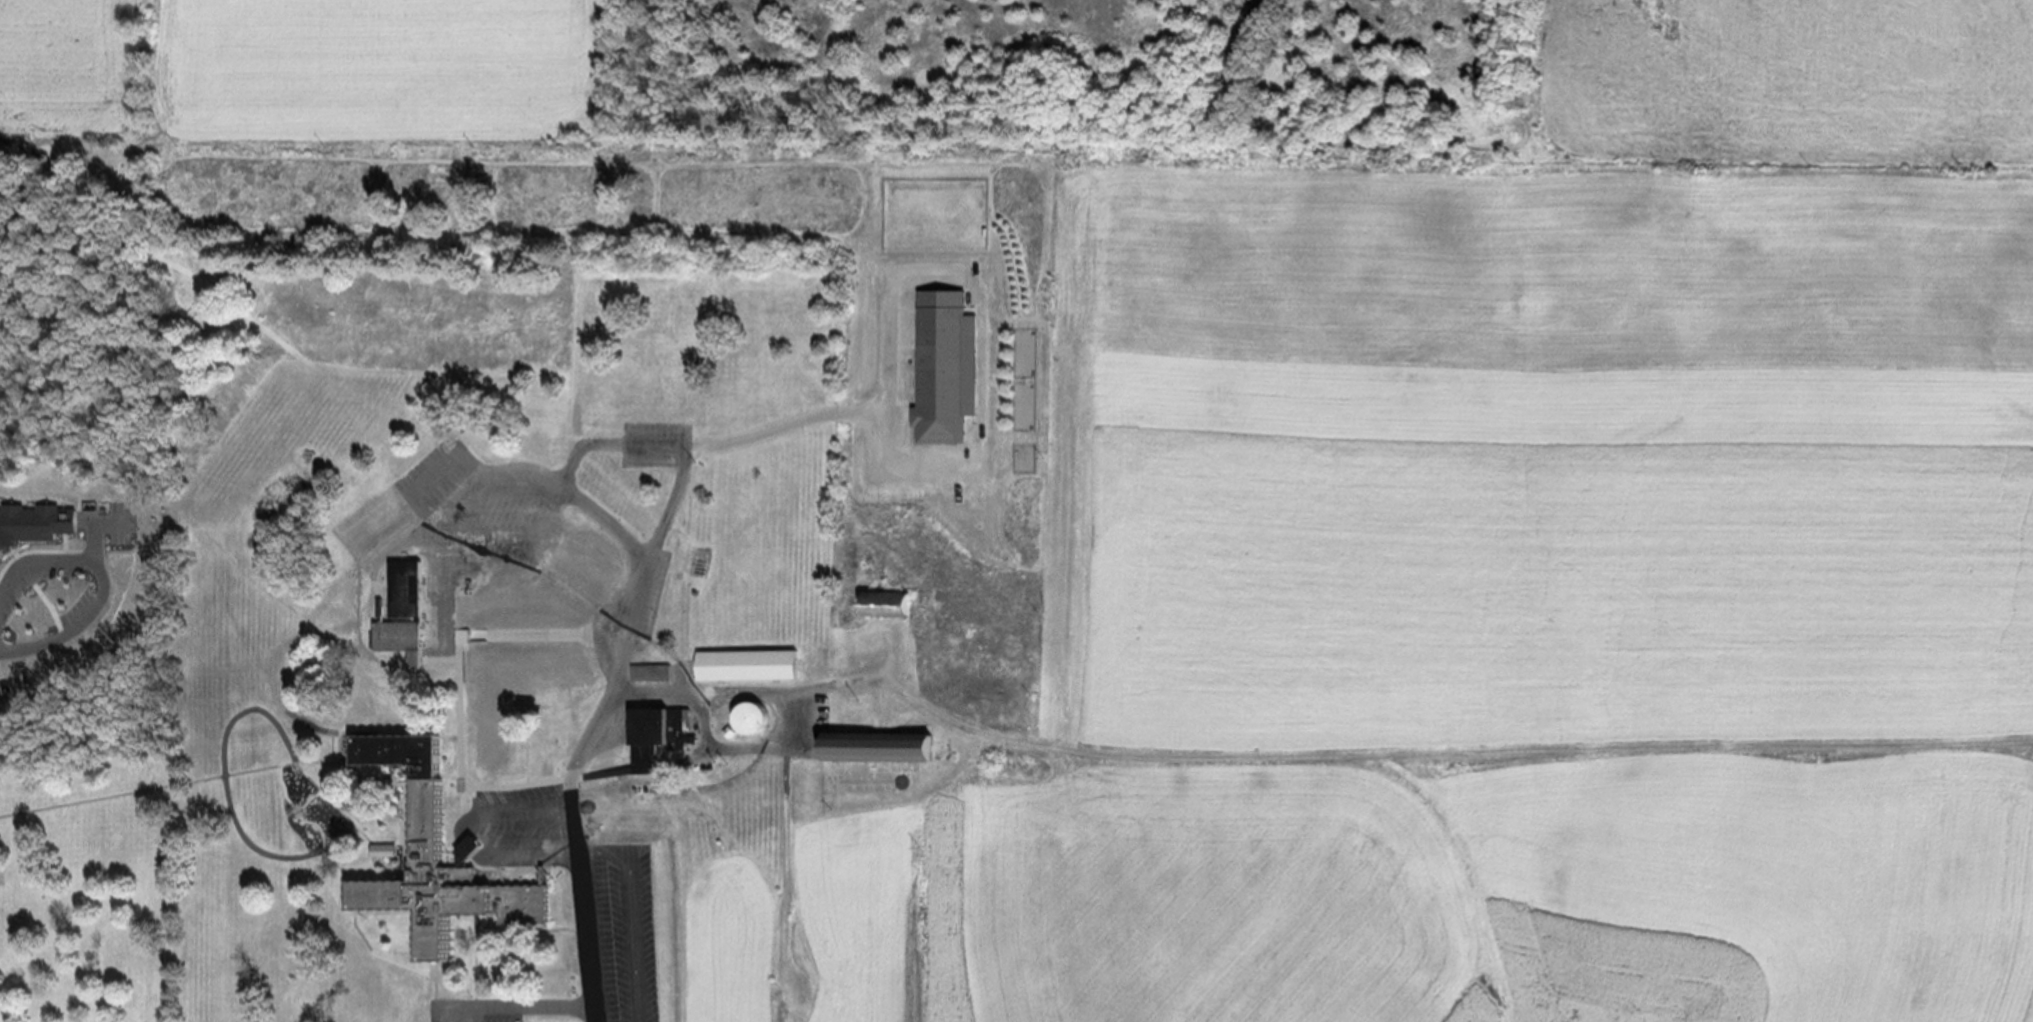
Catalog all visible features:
park: (94, 165)
building: (942, 367)
road: (734, 443)
road: (610, 444)
parking lot: (658, 444)
building: (32, 528)
road: (367, 558)
road: (472, 580)
road: (98, 581)
building: (409, 588)
building: (886, 605)
building: (405, 638)
building: (582, 659)
building: (747, 664)
building: (653, 672)
road: (623, 686)
road: (756, 693)
parking lot: (609, 712)
road: (538, 716)
building: (760, 716)
building: (656, 733)
building: (885, 744)
road: (754, 749)
road: (1455, 760)
road: (461, 763)
road: (148, 788)
road: (484, 836)
road: (409, 853)
building: (448, 856)
park: (85, 886)
road: (340, 897)
road: (639, 914)
road: (491, 928)
road: (524, 1009)
parking lot: (459, 1011)

